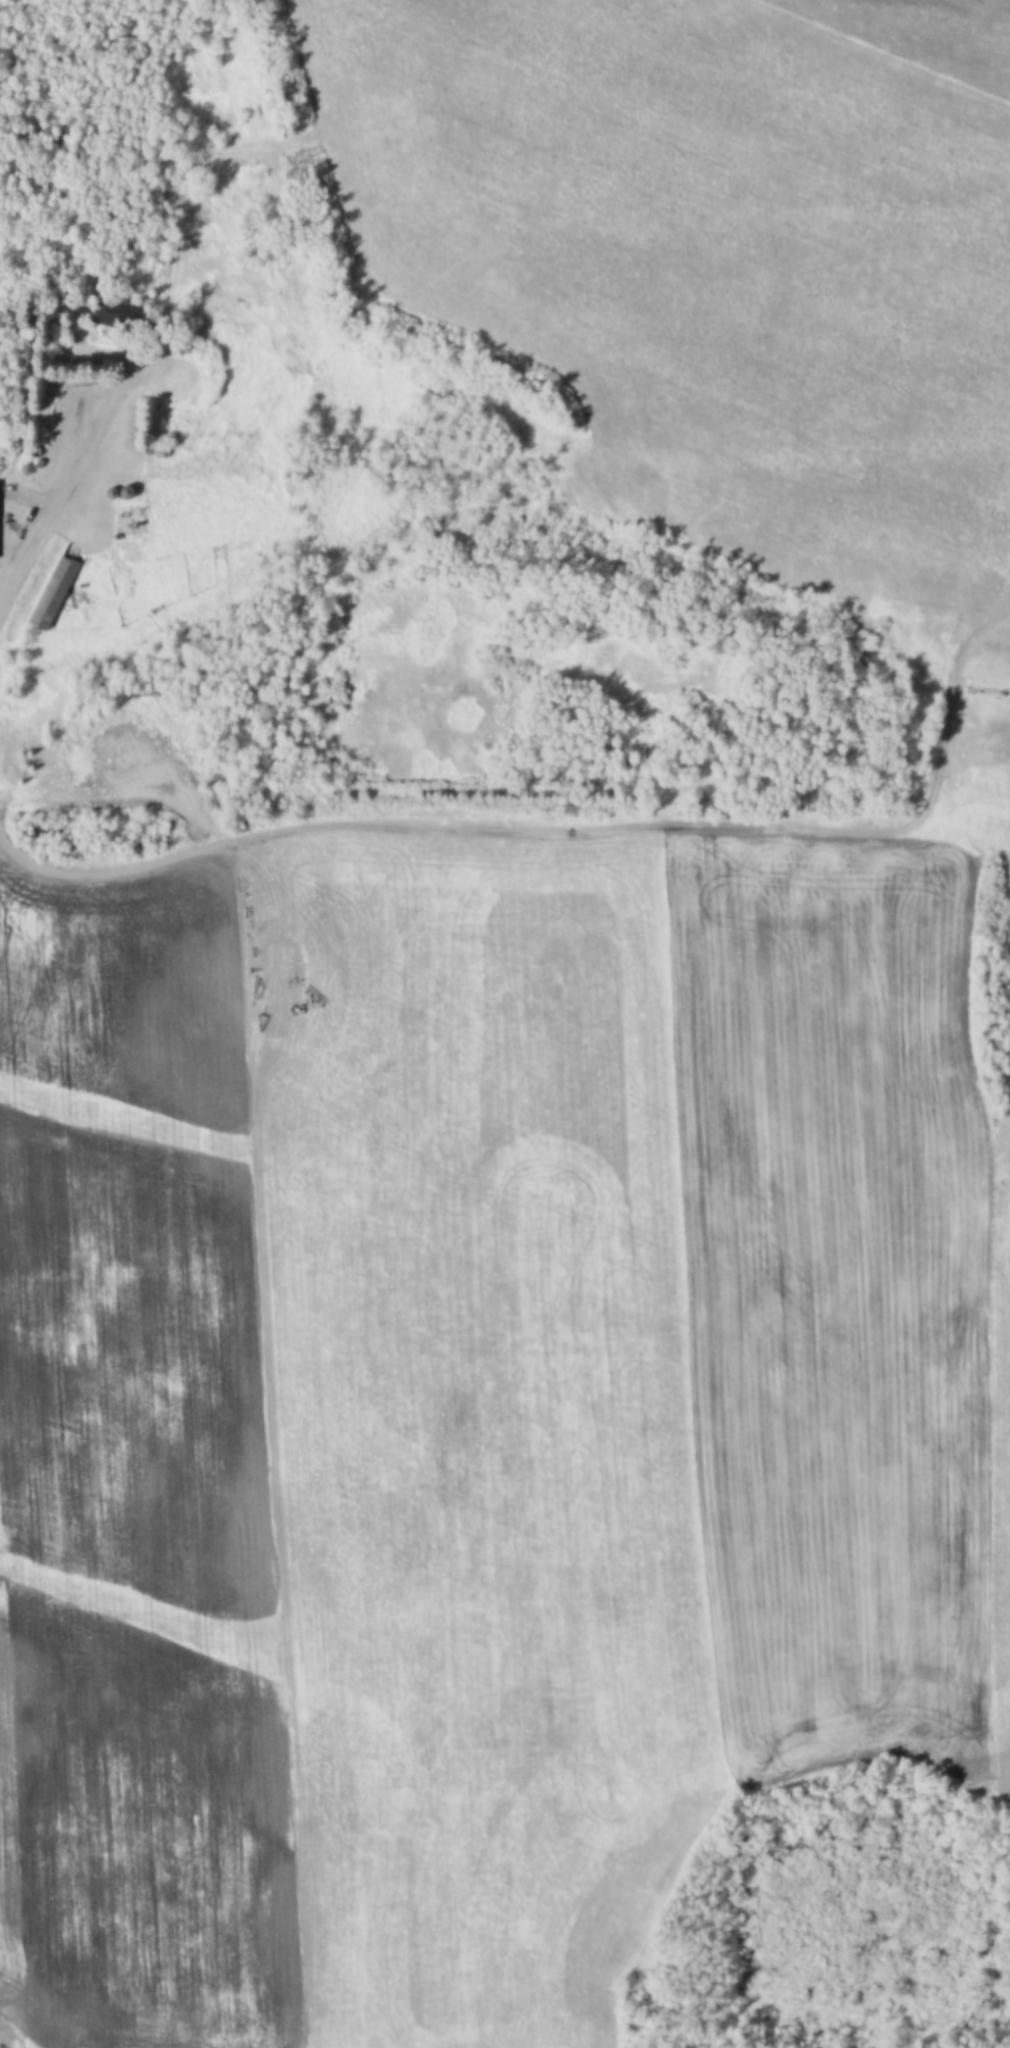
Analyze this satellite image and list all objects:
airport: (936, 28)
building: (118, 313)
road: (65, 483)
road: (547, 822)

